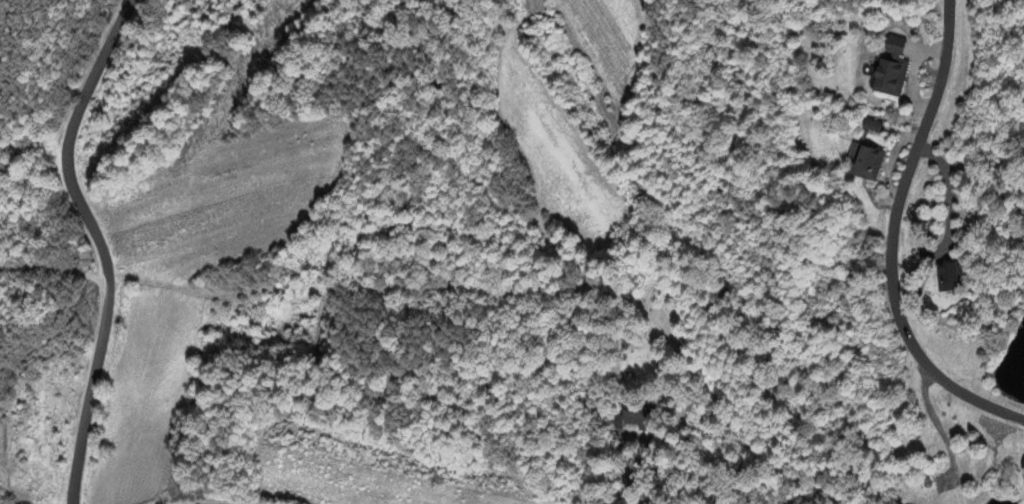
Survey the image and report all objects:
building: (889, 70)
building: (871, 127)
building: (865, 166)
road: (889, 242)
road: (93, 244)
building: (946, 278)
building: (631, 418)
building: (1021, 472)
road: (626, 473)

